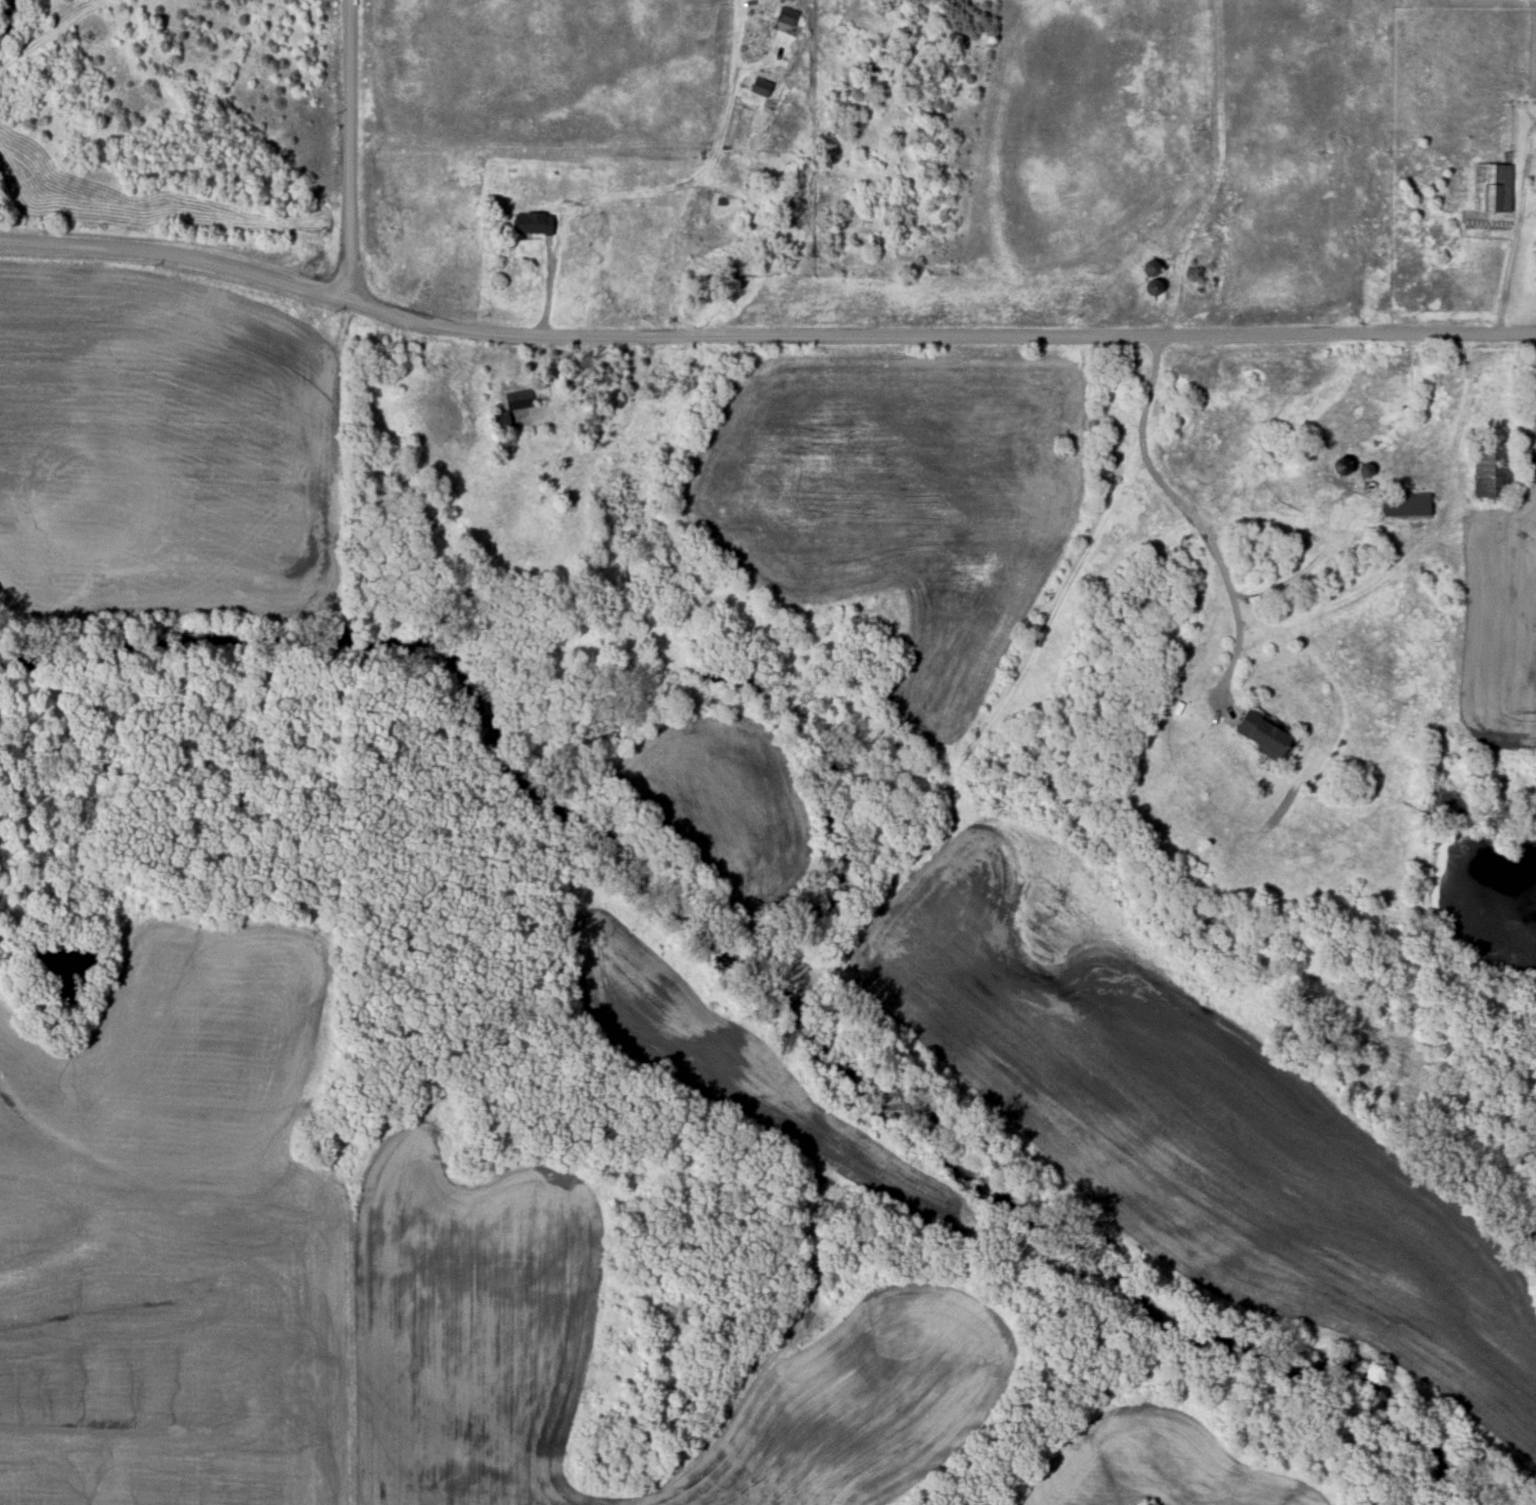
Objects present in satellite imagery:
building: (788, 16)
building: (761, 86)
road: (350, 150)
building: (1491, 187)
building: (534, 223)
road: (177, 255)
road: (1509, 265)
building: (1155, 277)
road: (940, 336)
road: (1469, 401)
building: (518, 405)
building: (1368, 471)
building: (1492, 471)
building: (1409, 505)
road: (1199, 529)
building: (1269, 735)
river: (775, 987)

